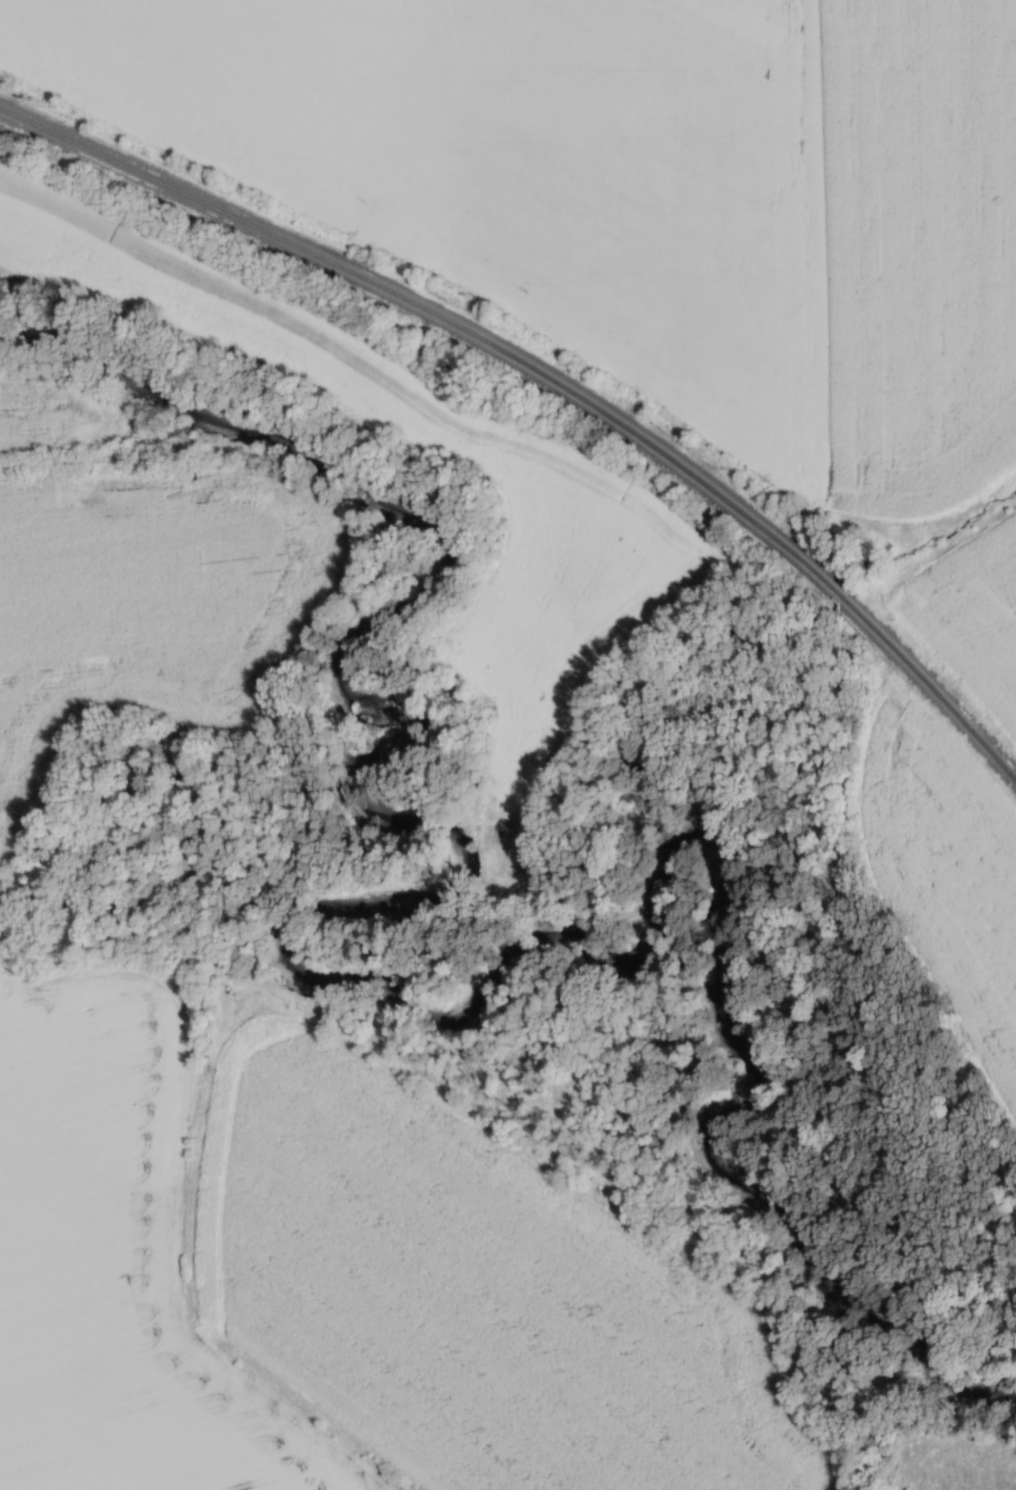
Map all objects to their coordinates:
railway: (549, 378)

